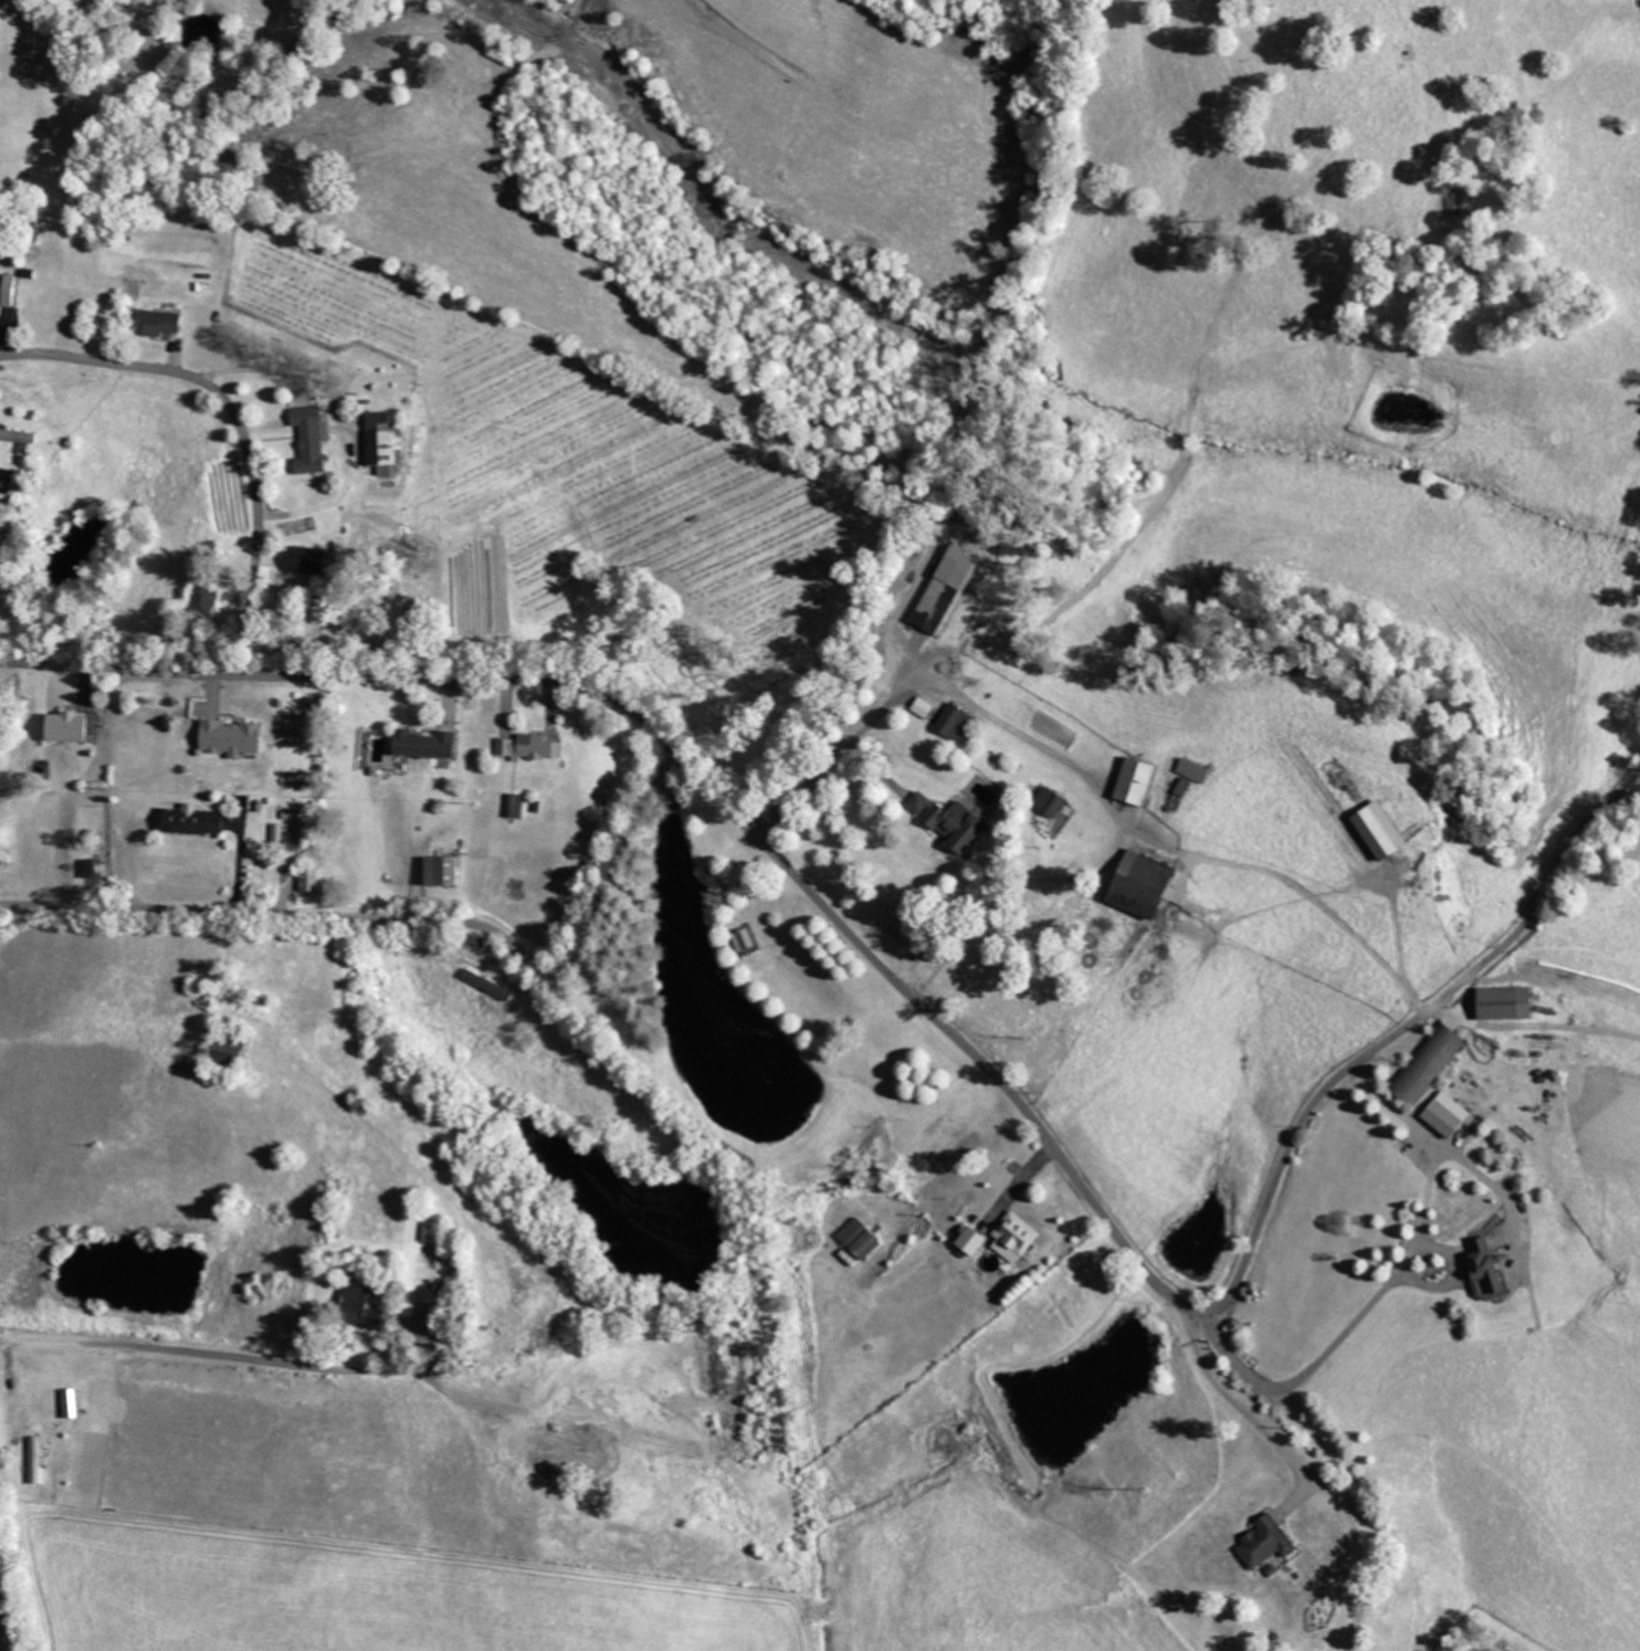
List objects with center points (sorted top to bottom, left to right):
building: (9, 290)
building: (162, 322)
road: (235, 418)
building: (20, 435)
building: (314, 438)
building: (386, 442)
building: (8, 480)
building: (313, 559)
building: (952, 589)
building: (208, 600)
building: (959, 721)
building: (72, 726)
building: (234, 737)
building: (431, 744)
building: (530, 747)
building: (1142, 780)
building: (1054, 801)
building: (516, 806)
building: (197, 820)
building: (956, 821)
building: (1387, 830)
building: (94, 869)
building: (448, 870)
building: (314, 880)
building: (1149, 885)
road: (413, 924)
building: (748, 940)
building: (1513, 1002)
road: (948, 1029)
building: (1432, 1062)
building: (1452, 1115)
building: (439, 1231)
building: (1019, 1237)
building: (864, 1238)
building: (1492, 1265)
road: (1385, 1286)
building: (366, 1307)
road: (200, 1349)
building: (71, 1403)
building: (39, 1453)
building: (1269, 1543)

